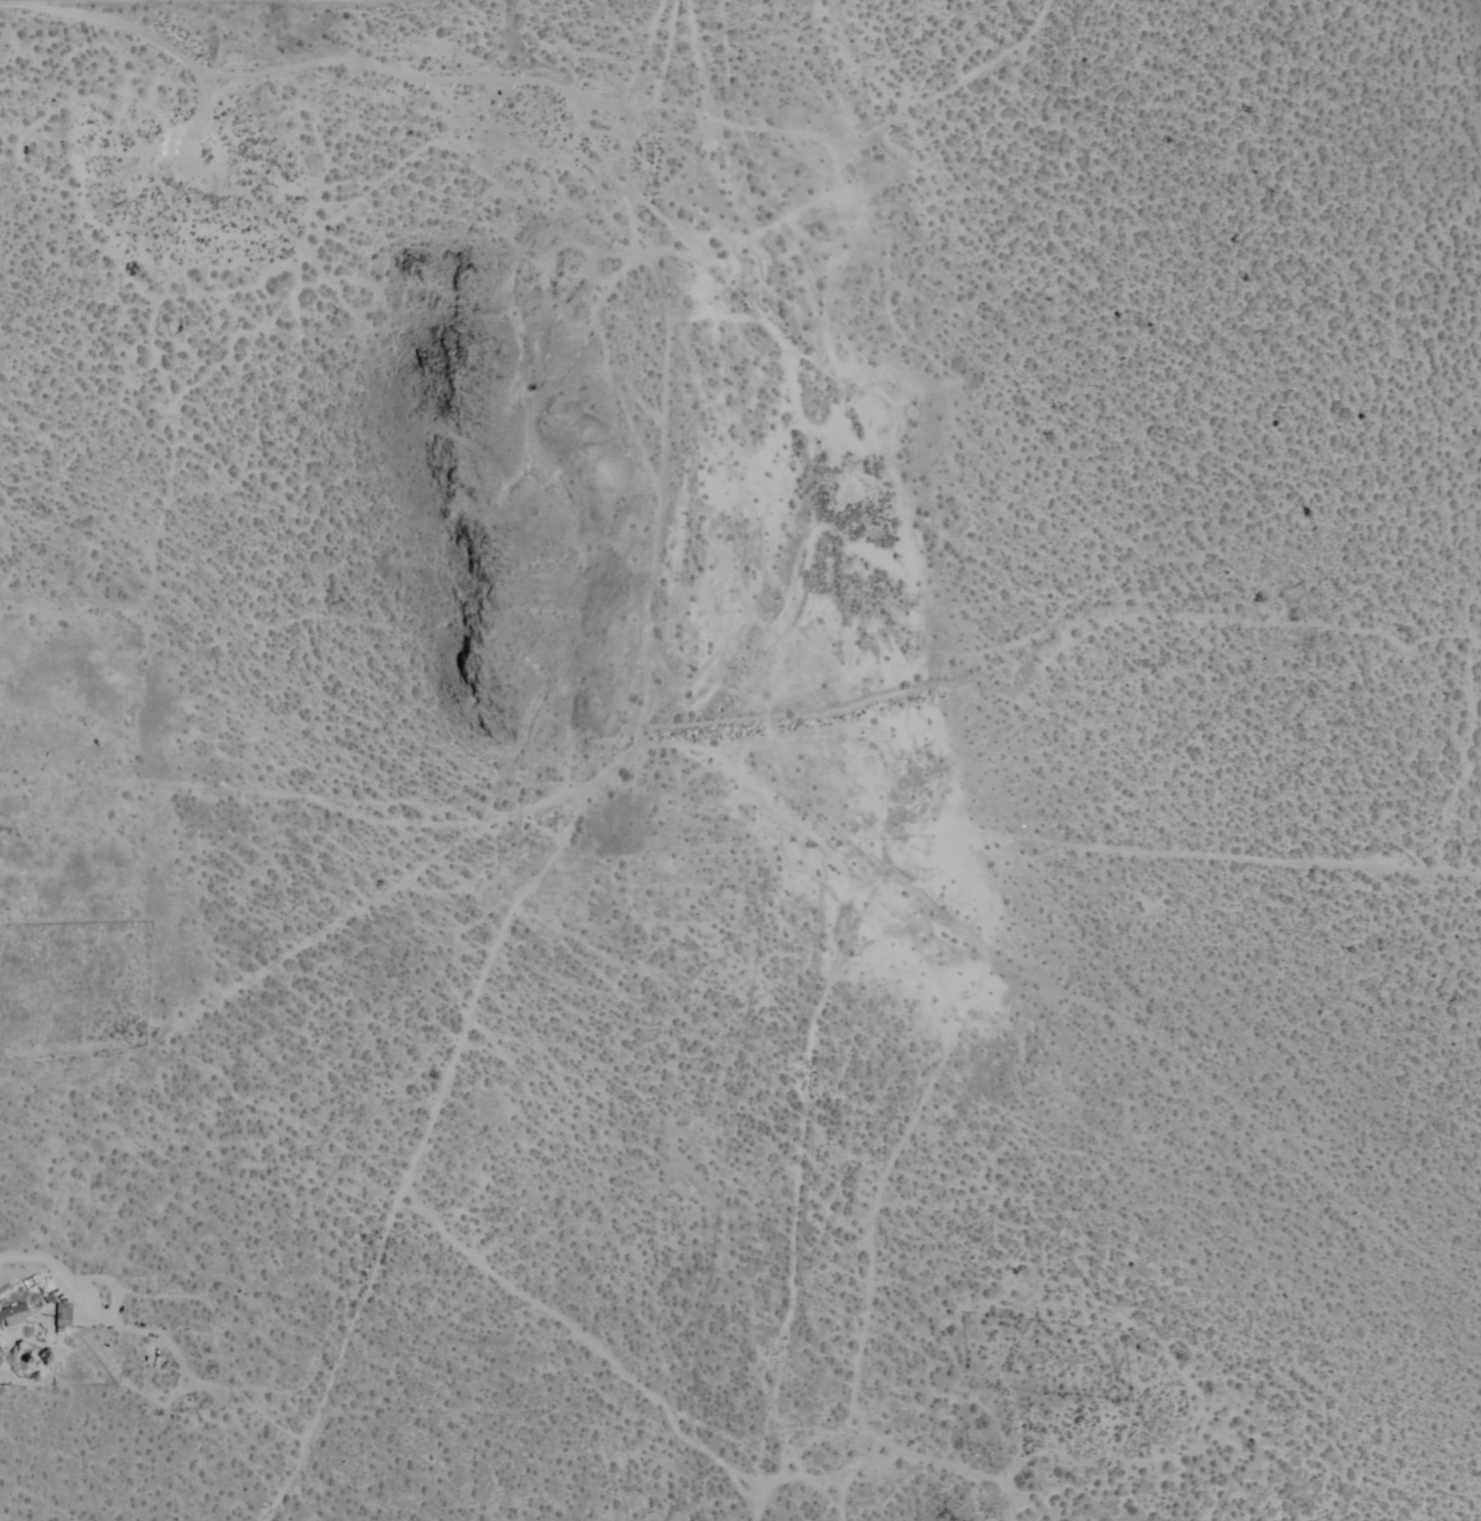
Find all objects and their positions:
building: (14, 1316)
building: (0, 1362)

